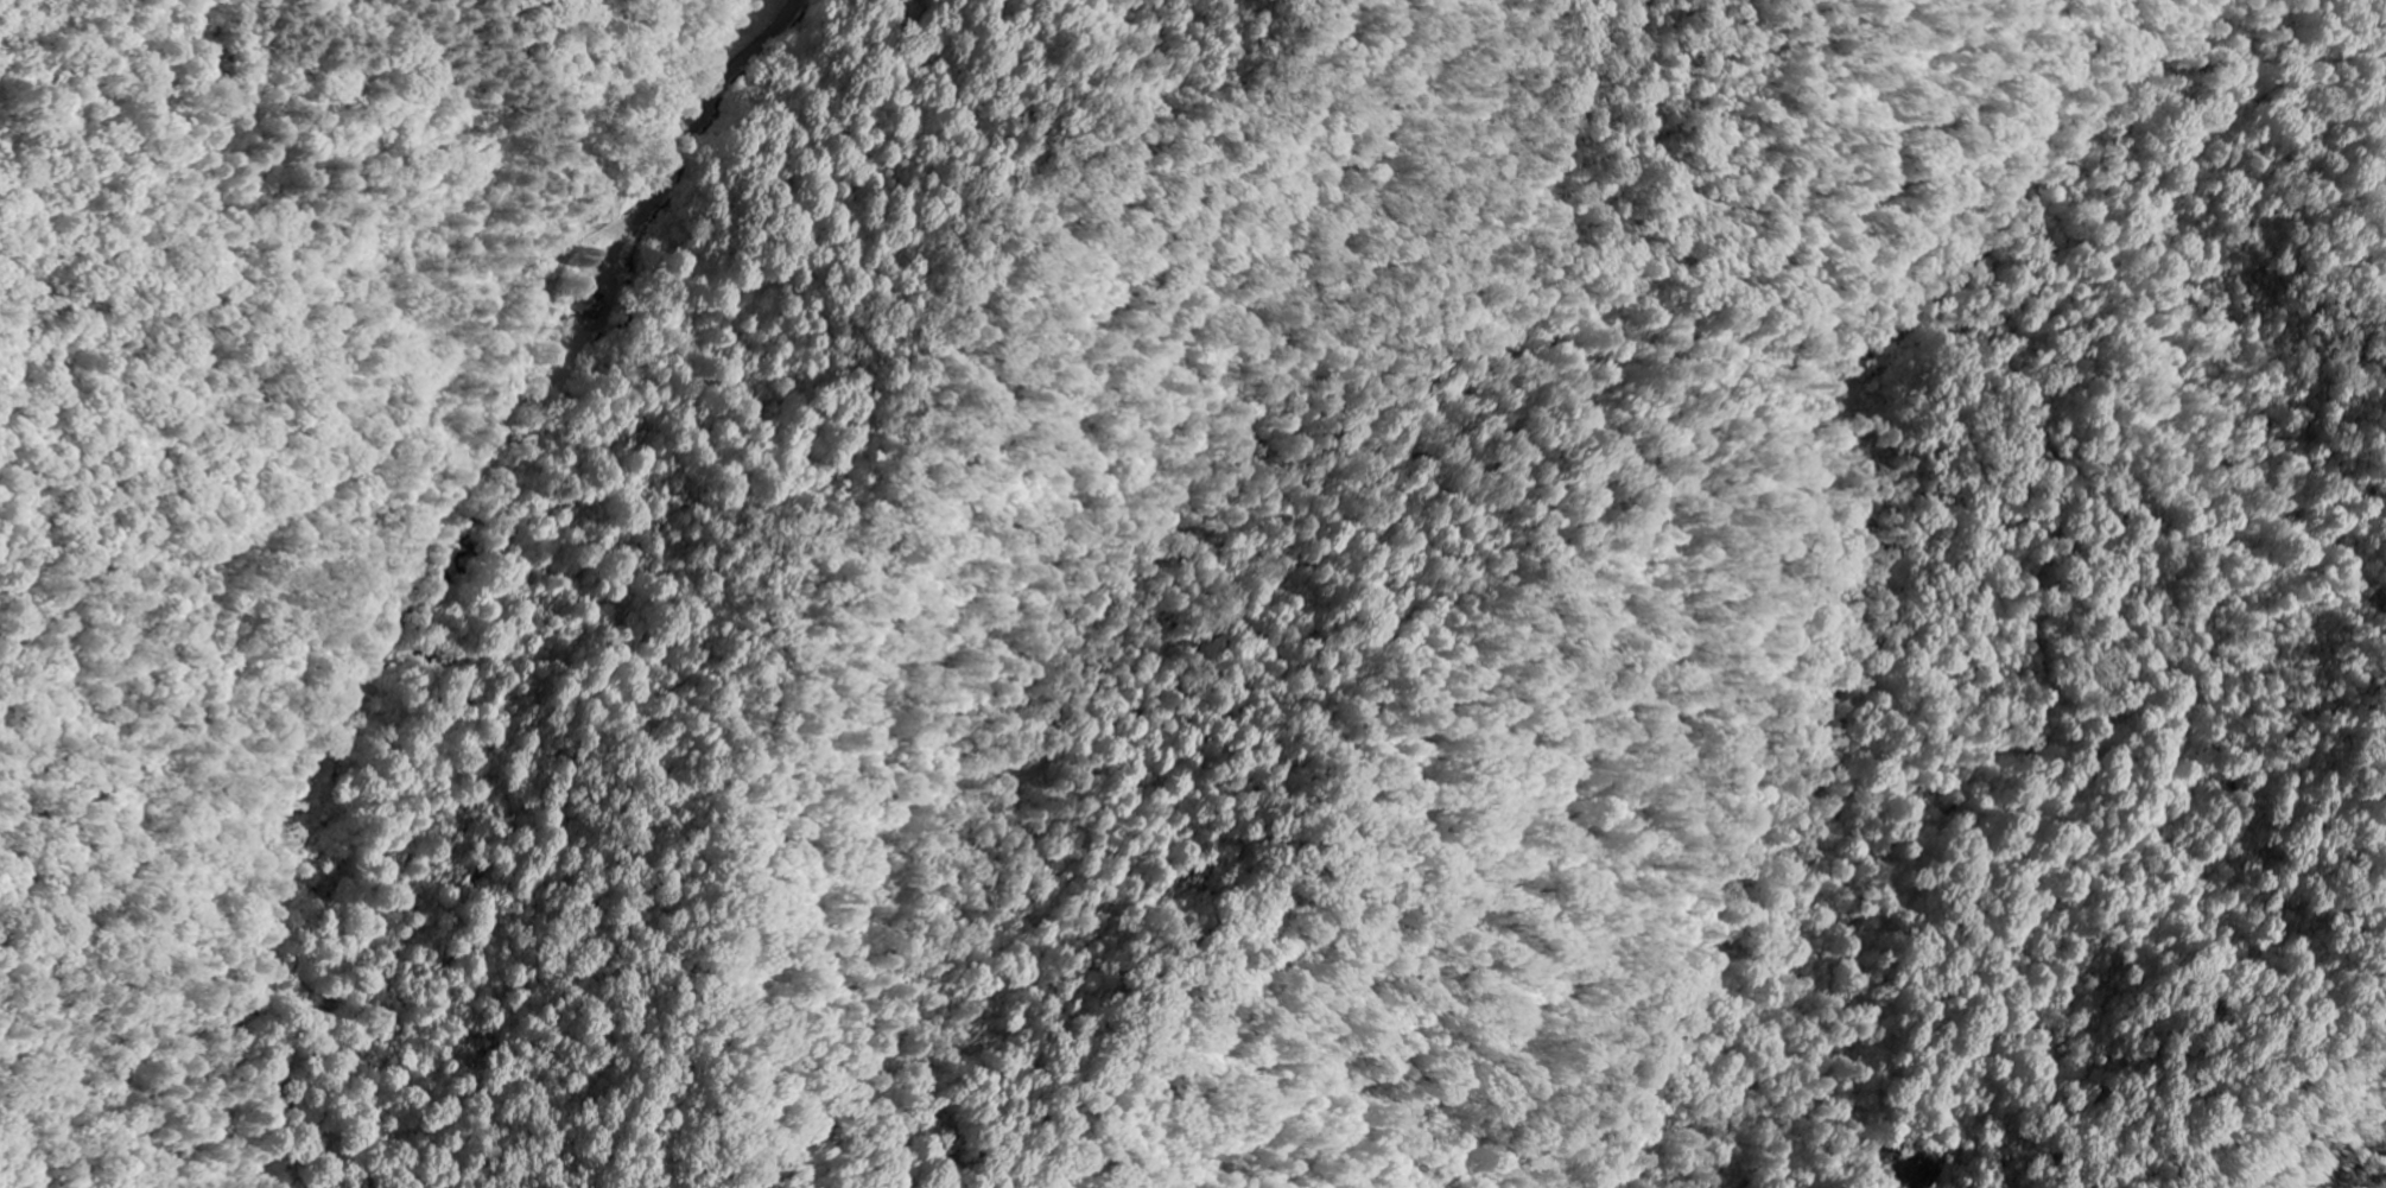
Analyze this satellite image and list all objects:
road: (704, 113)

